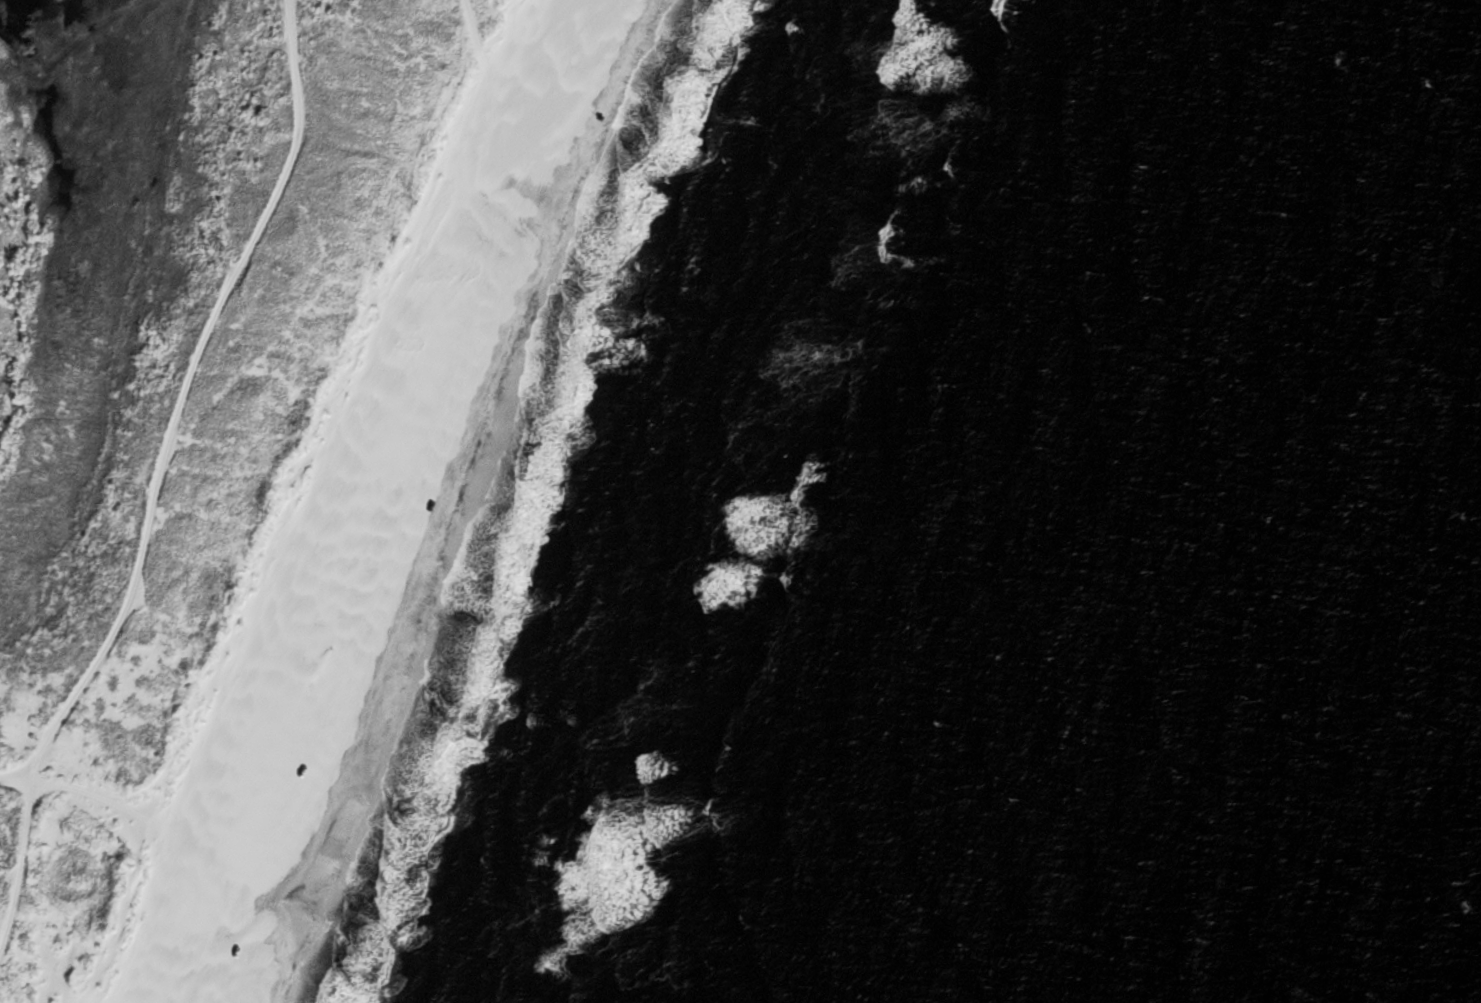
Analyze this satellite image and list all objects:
road: (480, 52)
road: (183, 394)
road: (15, 779)
road: (106, 797)
road: (22, 868)

